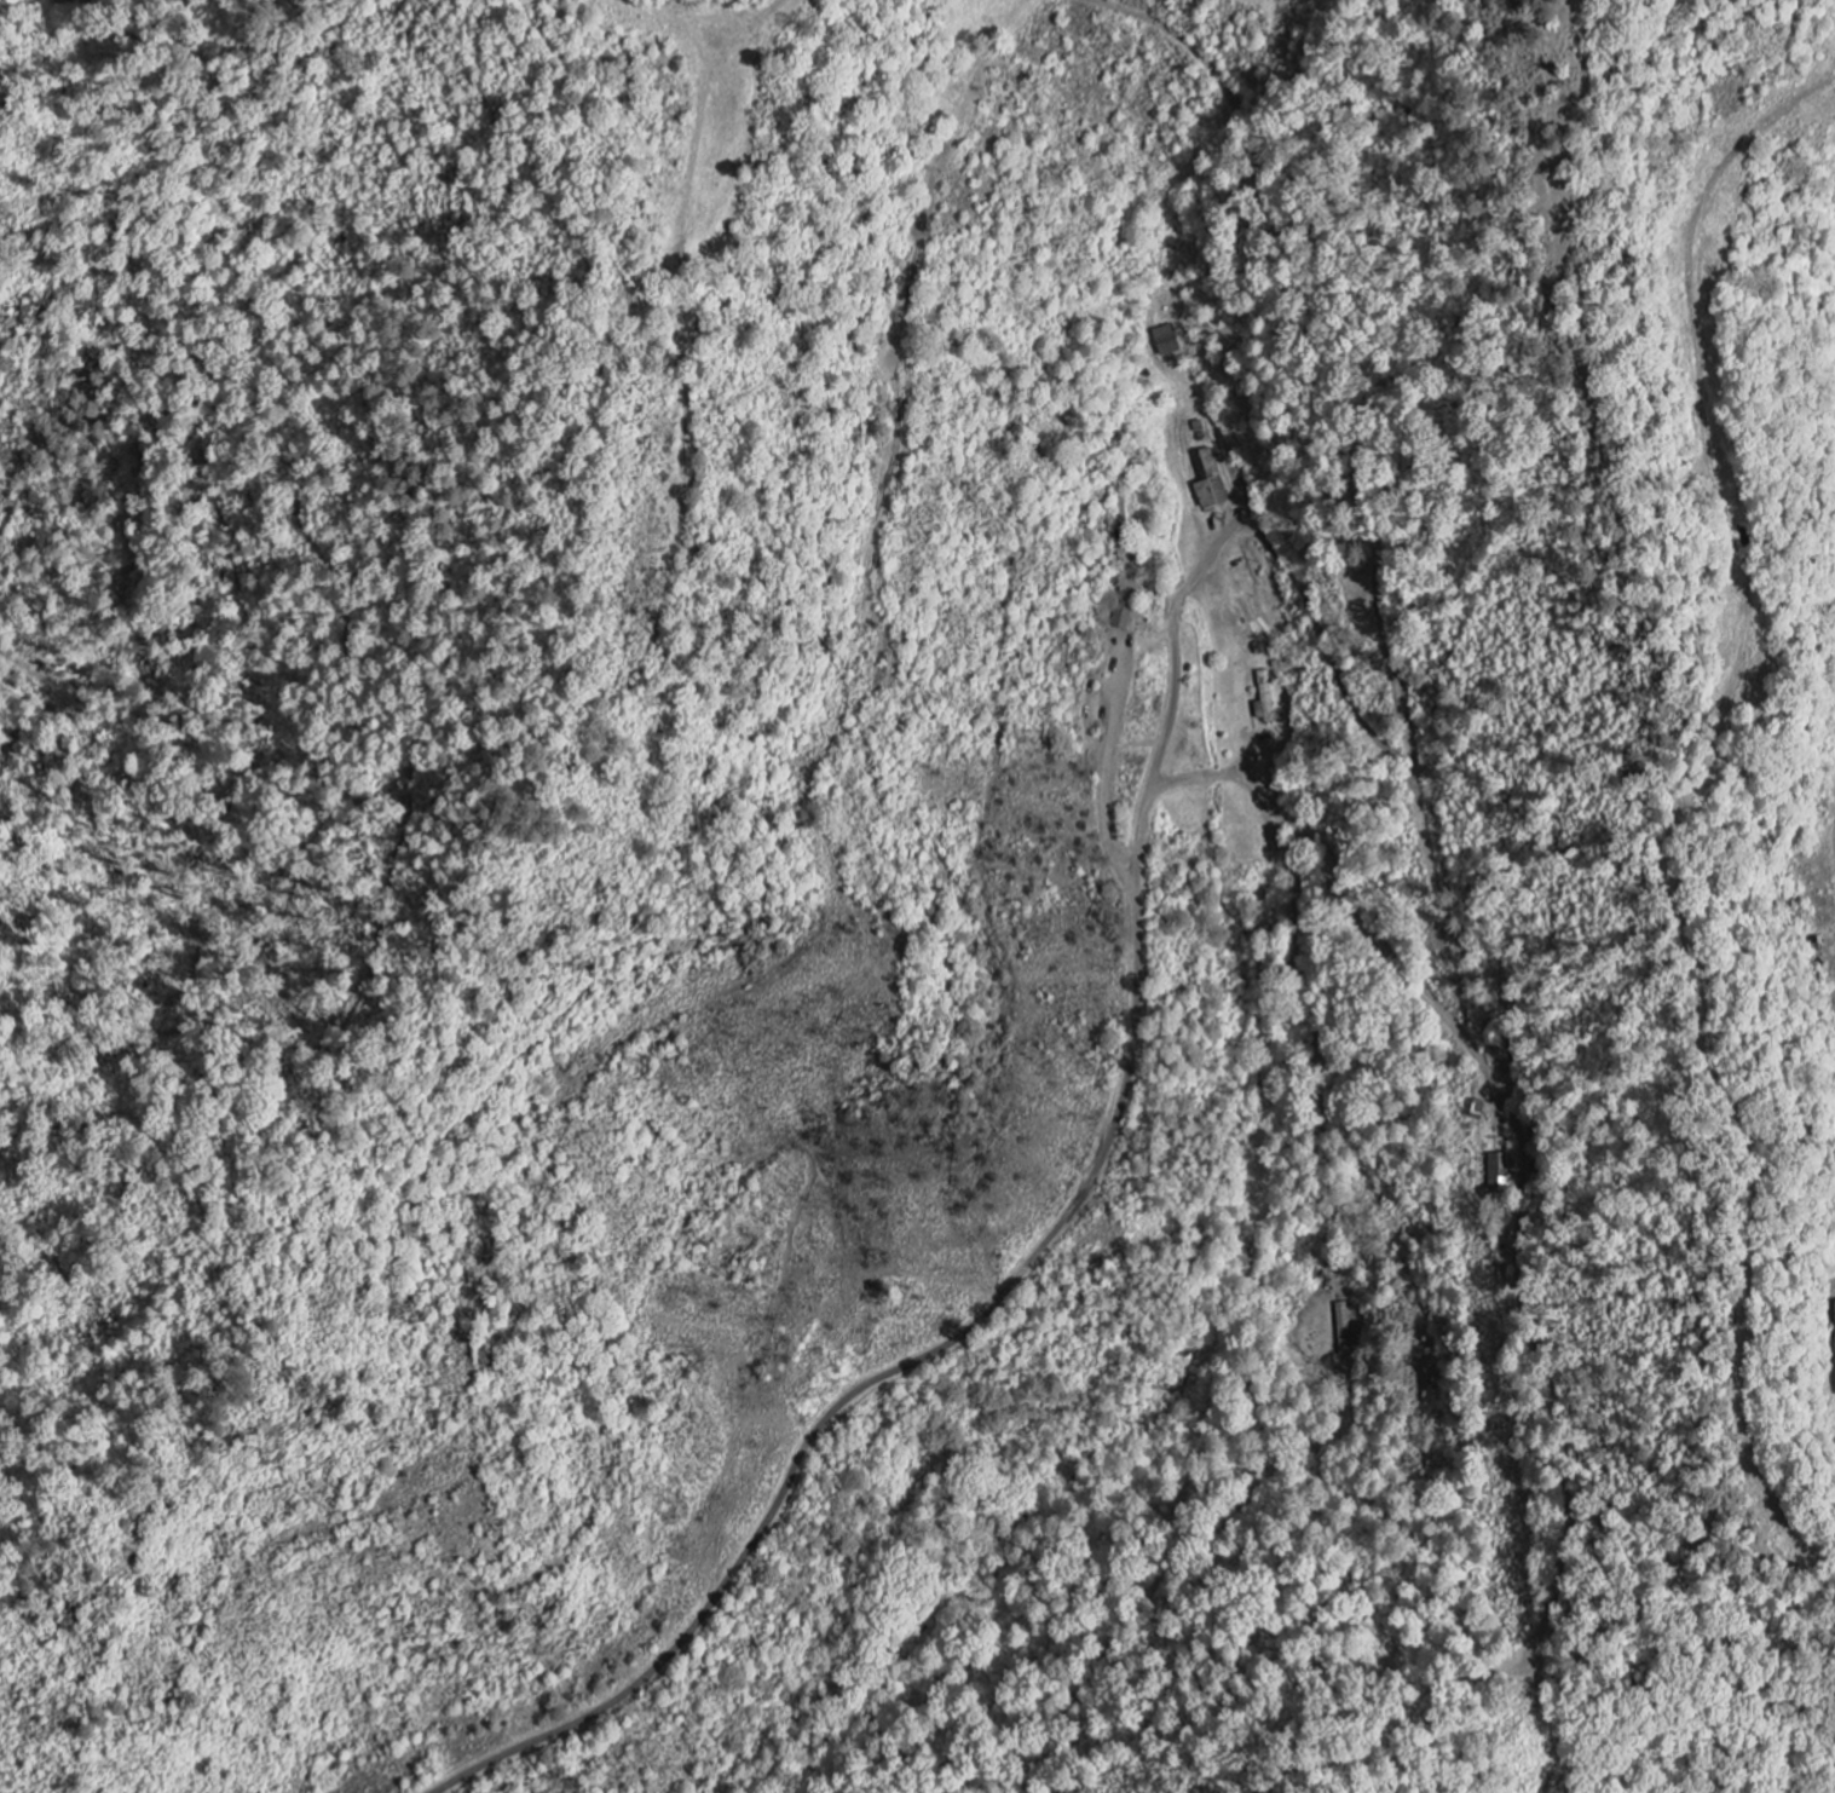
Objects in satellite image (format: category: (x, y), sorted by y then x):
building: (1166, 341)
building: (1207, 482)
road: (1205, 561)
road: (1517, 1125)
building: (1499, 1172)
road: (988, 1309)
building: (1834, 1345)

